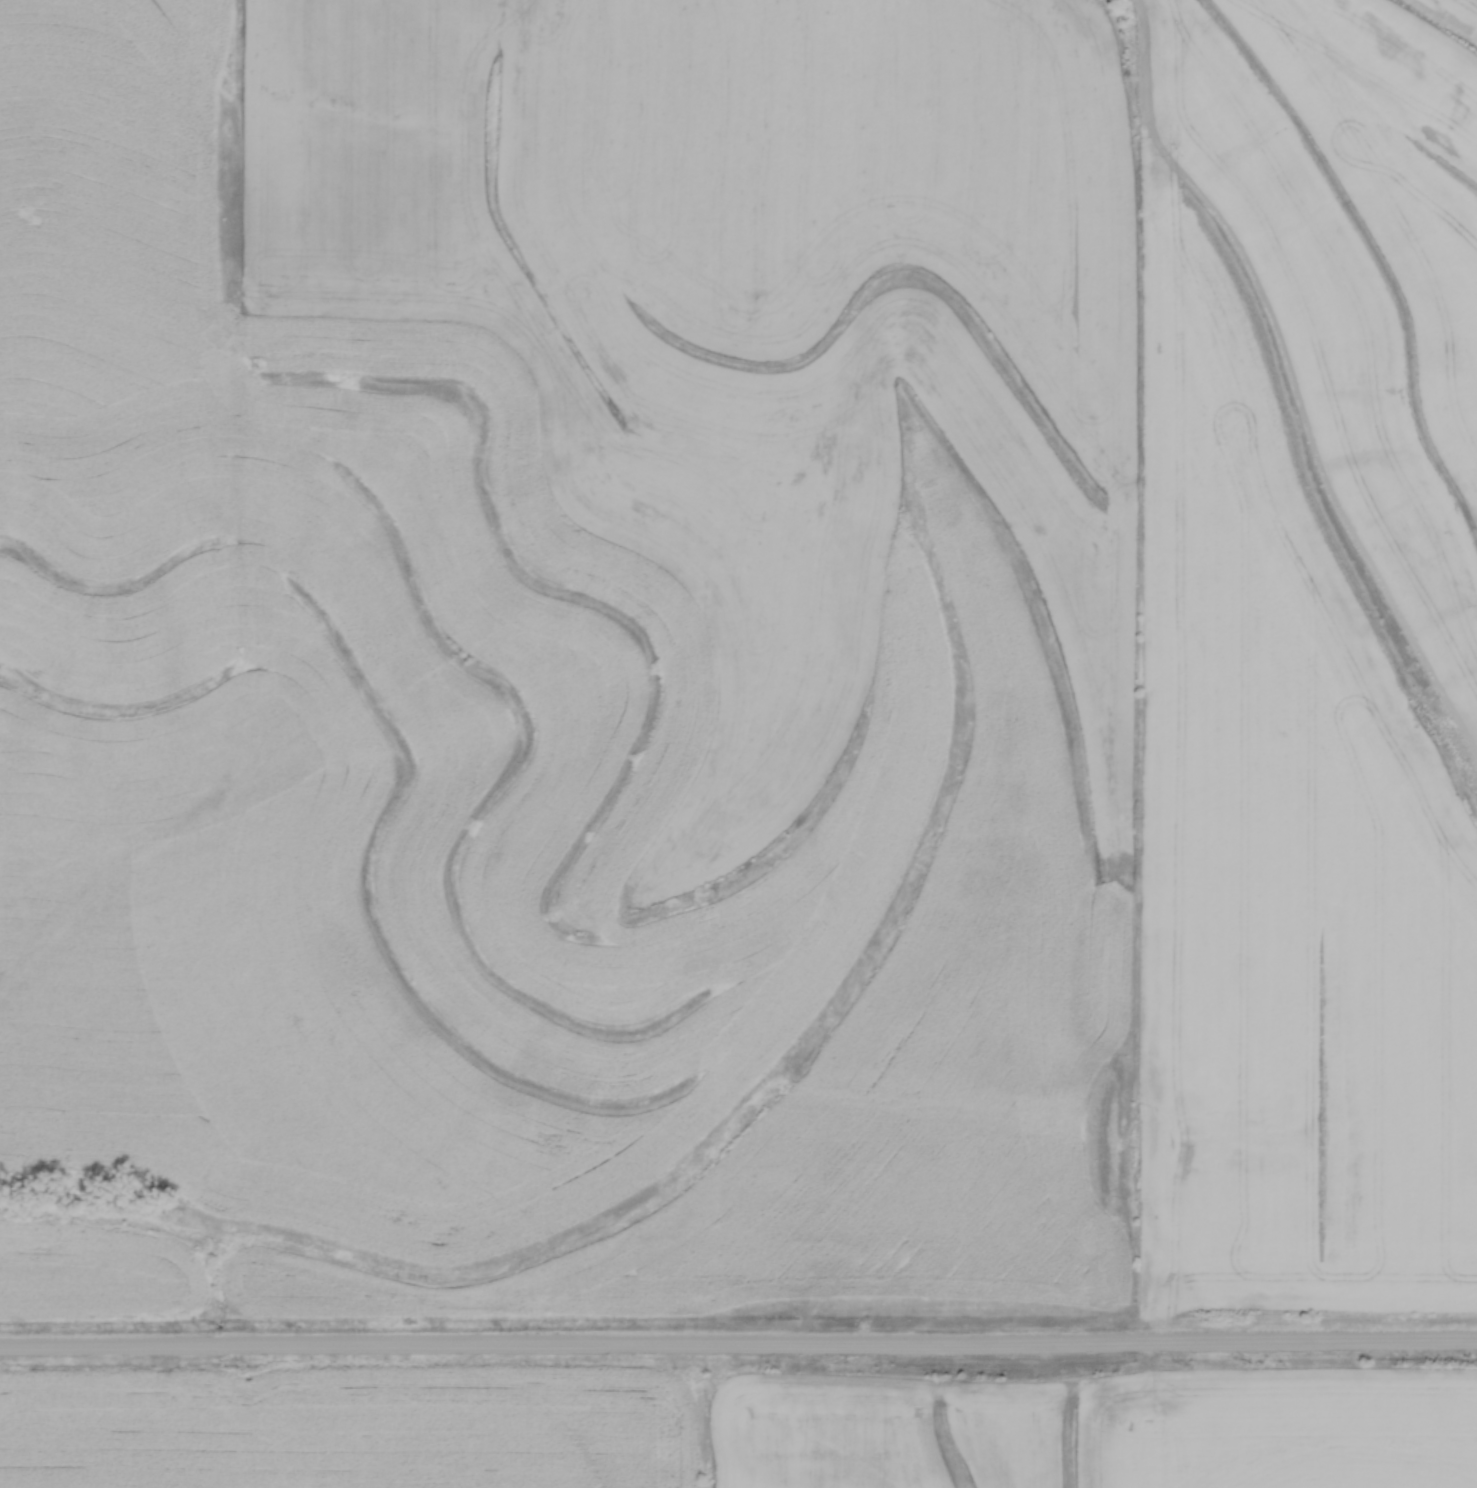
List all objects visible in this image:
road: (738, 1345)

